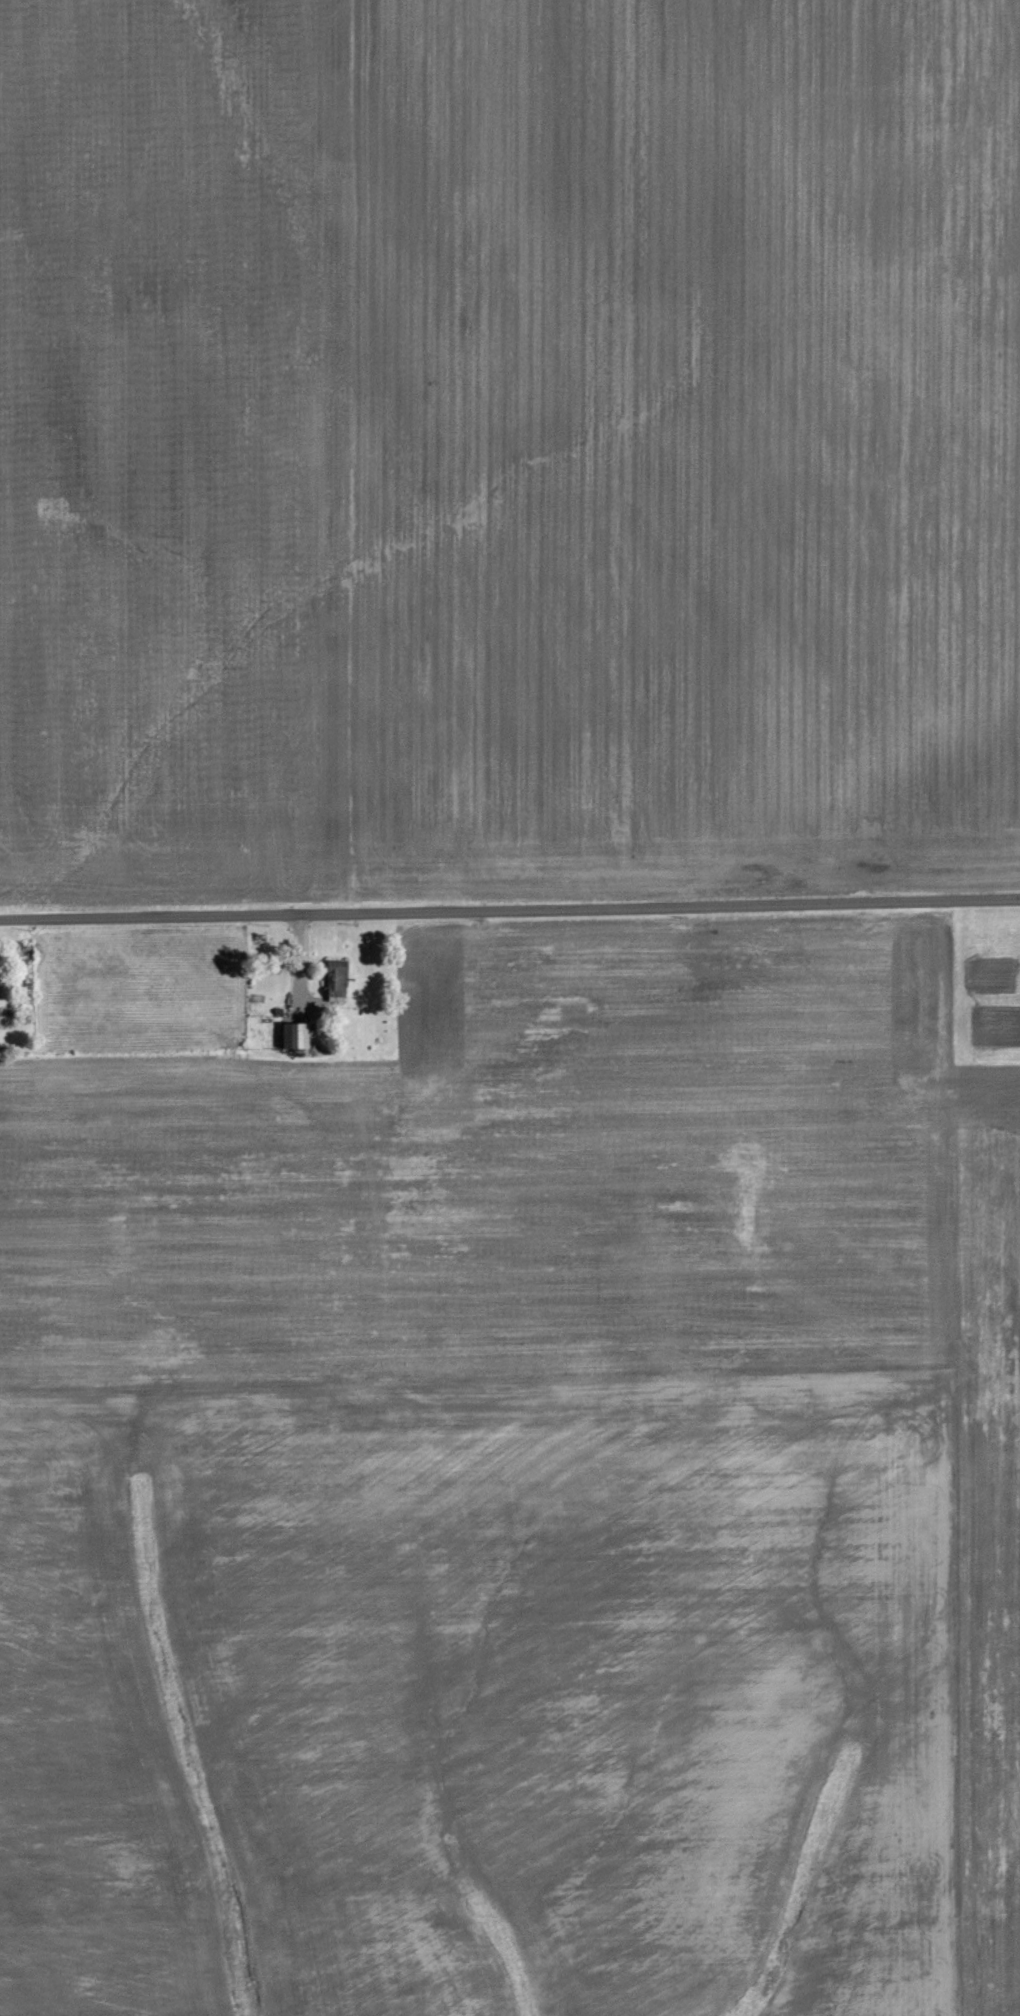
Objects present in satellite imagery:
road: (510, 906)
building: (339, 980)
building: (299, 1036)

